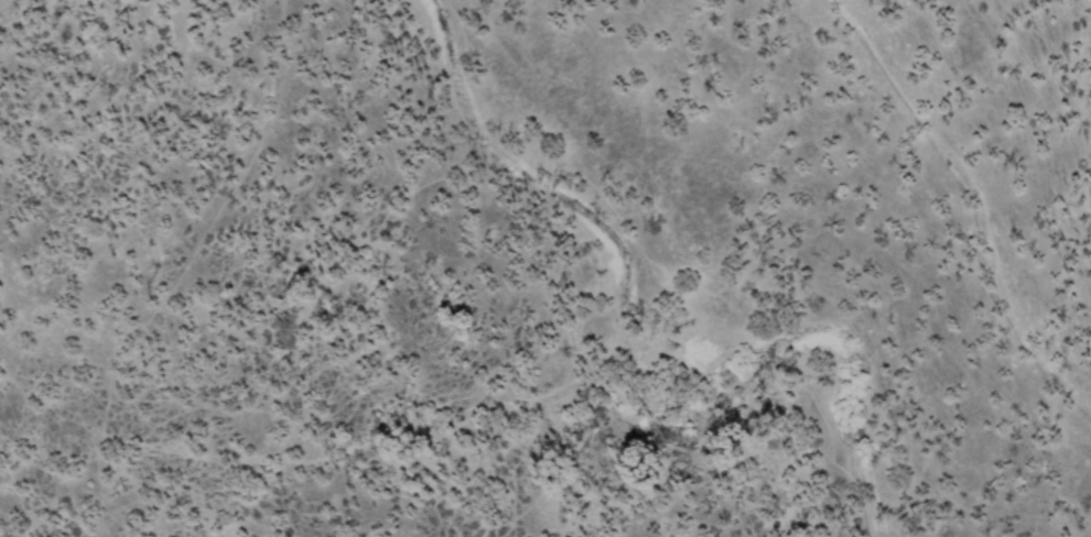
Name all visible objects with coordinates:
park: (987, 531)

